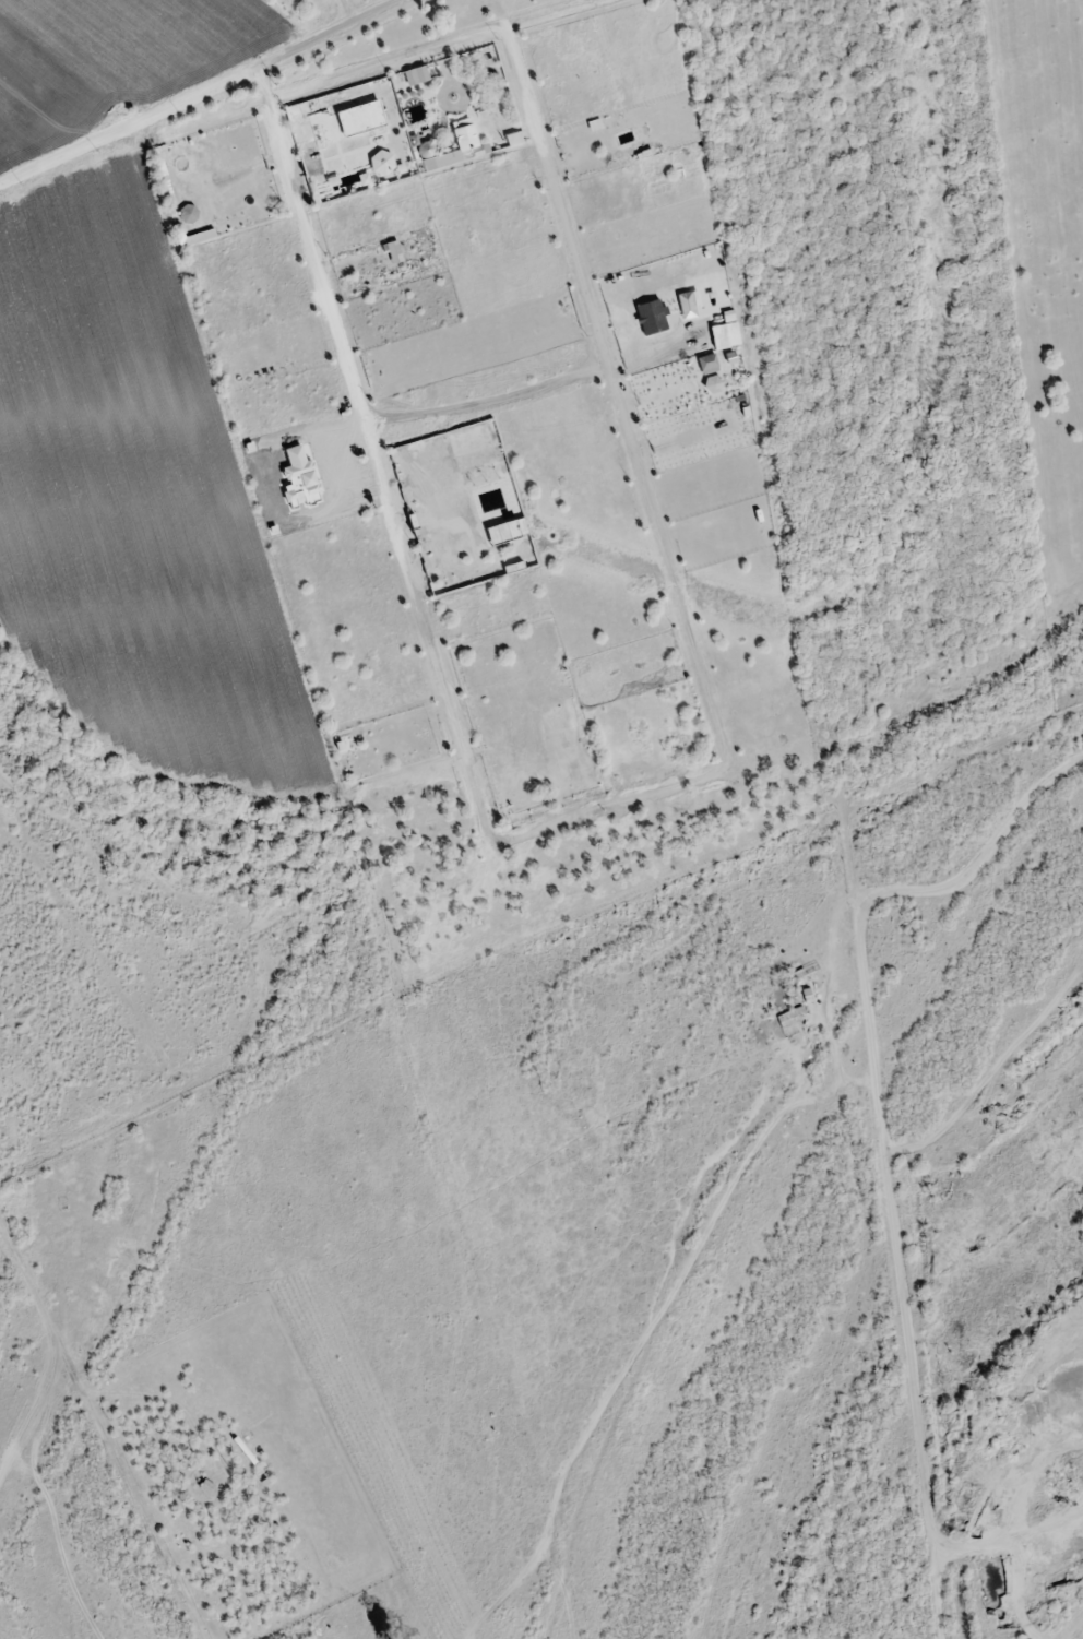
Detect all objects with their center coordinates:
road: (64, 1342)

